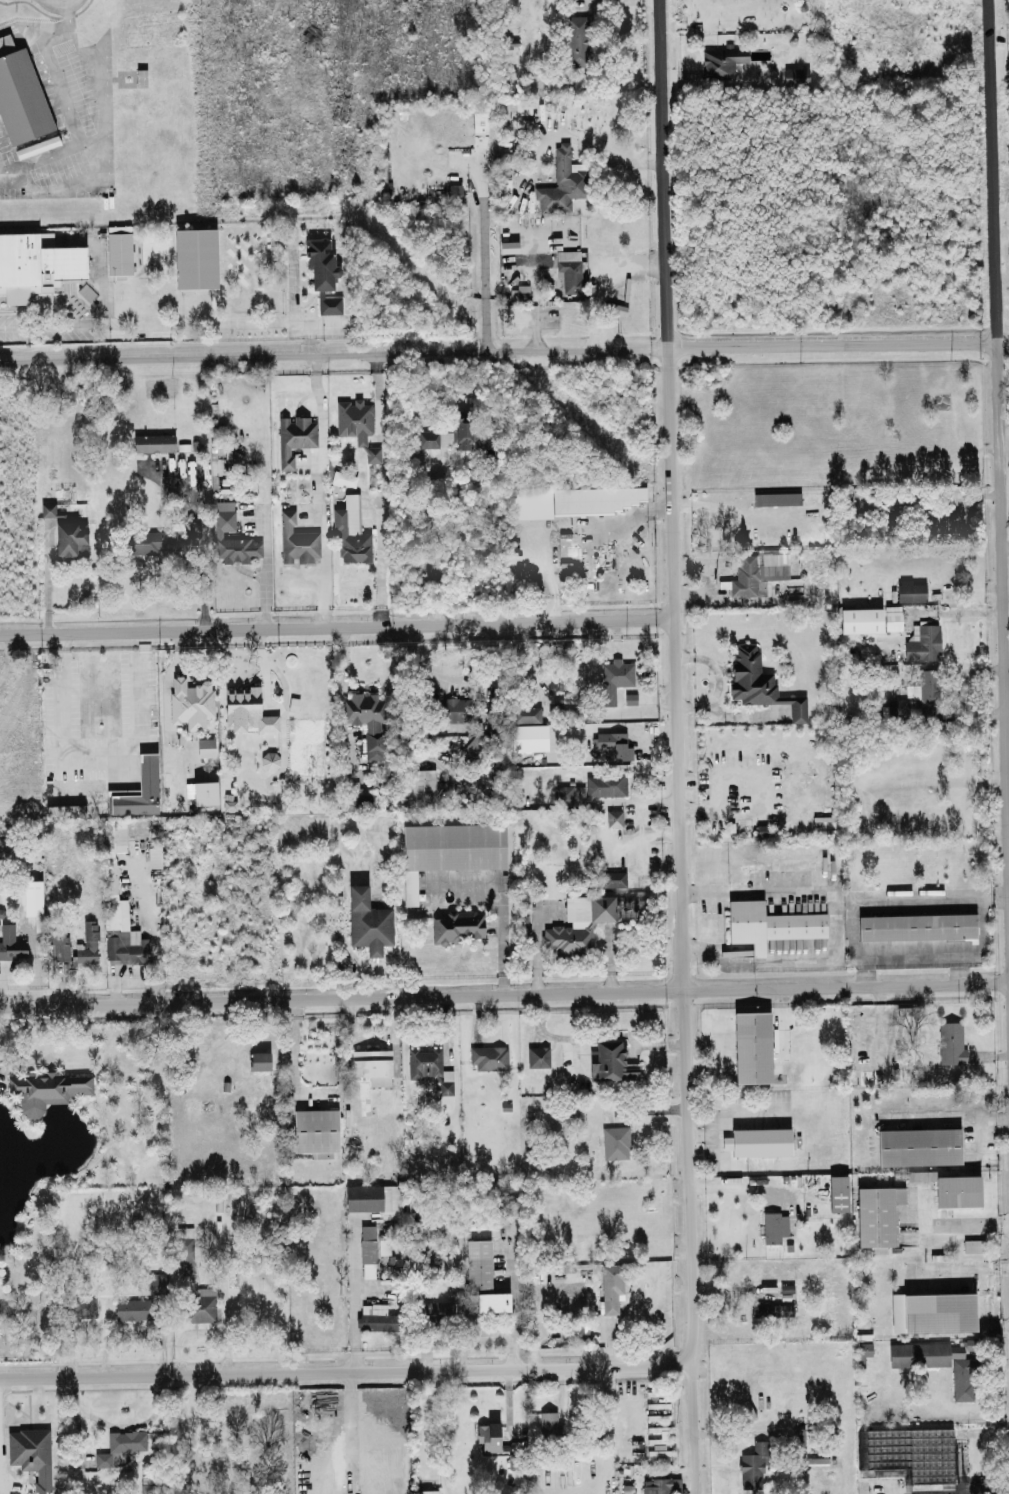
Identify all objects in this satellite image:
road: (67, 3)
road: (69, 17)
building: (577, 40)
building: (723, 61)
building: (797, 75)
building: (20, 94)
road: (103, 151)
road: (619, 154)
building: (563, 182)
road: (484, 224)
building: (119, 252)
building: (321, 263)
building: (35, 265)
building: (571, 270)
building: (519, 292)
building: (330, 303)
road: (228, 319)
road: (53, 323)
road: (485, 323)
road: (308, 330)
road: (1004, 341)
road: (687, 344)
road: (187, 358)
road: (1000, 363)
building: (358, 426)
building: (451, 435)
building: (295, 436)
building: (154, 442)
building: (342, 478)
building: (295, 481)
road: (316, 488)
building: (775, 498)
building: (597, 499)
building: (46, 509)
building: (297, 515)
building: (934, 522)
building: (350, 532)
building: (71, 538)
building: (231, 538)
building: (297, 540)
building: (155, 541)
road: (197, 544)
building: (743, 576)
building: (910, 591)
building: (890, 618)
building: (859, 620)
road: (340, 623)
building: (922, 643)
building: (614, 678)
building: (758, 682)
building: (927, 691)
building: (190, 702)
building: (897, 709)
building: (247, 710)
building: (454, 710)
building: (526, 714)
building: (367, 717)
building: (498, 733)
building: (476, 741)
building: (614, 743)
road: (684, 746)
building: (206, 747)
building: (268, 759)
road: (98, 760)
building: (604, 785)
building: (421, 786)
building: (139, 789)
building: (206, 792)
building: (570, 793)
building: (358, 800)
building: (228, 804)
building: (65, 808)
building: (614, 817)
building: (448, 849)
building: (154, 856)
building: (614, 878)
building: (33, 895)
road: (887, 900)
road: (501, 905)
building: (368, 921)
building: (577, 924)
building: (767, 924)
building: (455, 925)
building: (916, 926)
building: (13, 944)
building: (86, 945)
building: (124, 948)
building: (57, 950)
road: (983, 951)
road: (504, 992)
road: (371, 1037)
building: (951, 1042)
building: (753, 1046)
building: (538, 1055)
building: (489, 1056)
building: (260, 1059)
building: (611, 1061)
building: (427, 1063)
building: (373, 1065)
building: (47, 1089)
building: (570, 1115)
road: (952, 1118)
building: (316, 1131)
building: (616, 1141)
building: (759, 1141)
building: (919, 1146)
road: (738, 1185)
building: (952, 1187)
building: (838, 1192)
building: (363, 1197)
building: (392, 1200)
building: (511, 1205)
building: (877, 1213)
road: (948, 1222)
building: (774, 1226)
building: (974, 1244)
building: (384, 1245)
building: (183, 1248)
building: (368, 1259)
building: (483, 1277)
building: (158, 1282)
building: (613, 1284)
road: (352, 1295)
building: (200, 1304)
building: (83, 1306)
building: (133, 1308)
building: (772, 1309)
building: (933, 1311)
building: (377, 1317)
road: (134, 1329)
road: (201, 1329)
building: (864, 1348)
building: (940, 1363)
road: (348, 1369)
building: (548, 1423)
road: (119, 1425)
building: (489, 1435)
building: (121, 1444)
building: (32, 1454)
building: (753, 1466)
building: (659, 1485)
building: (426, 1491)

